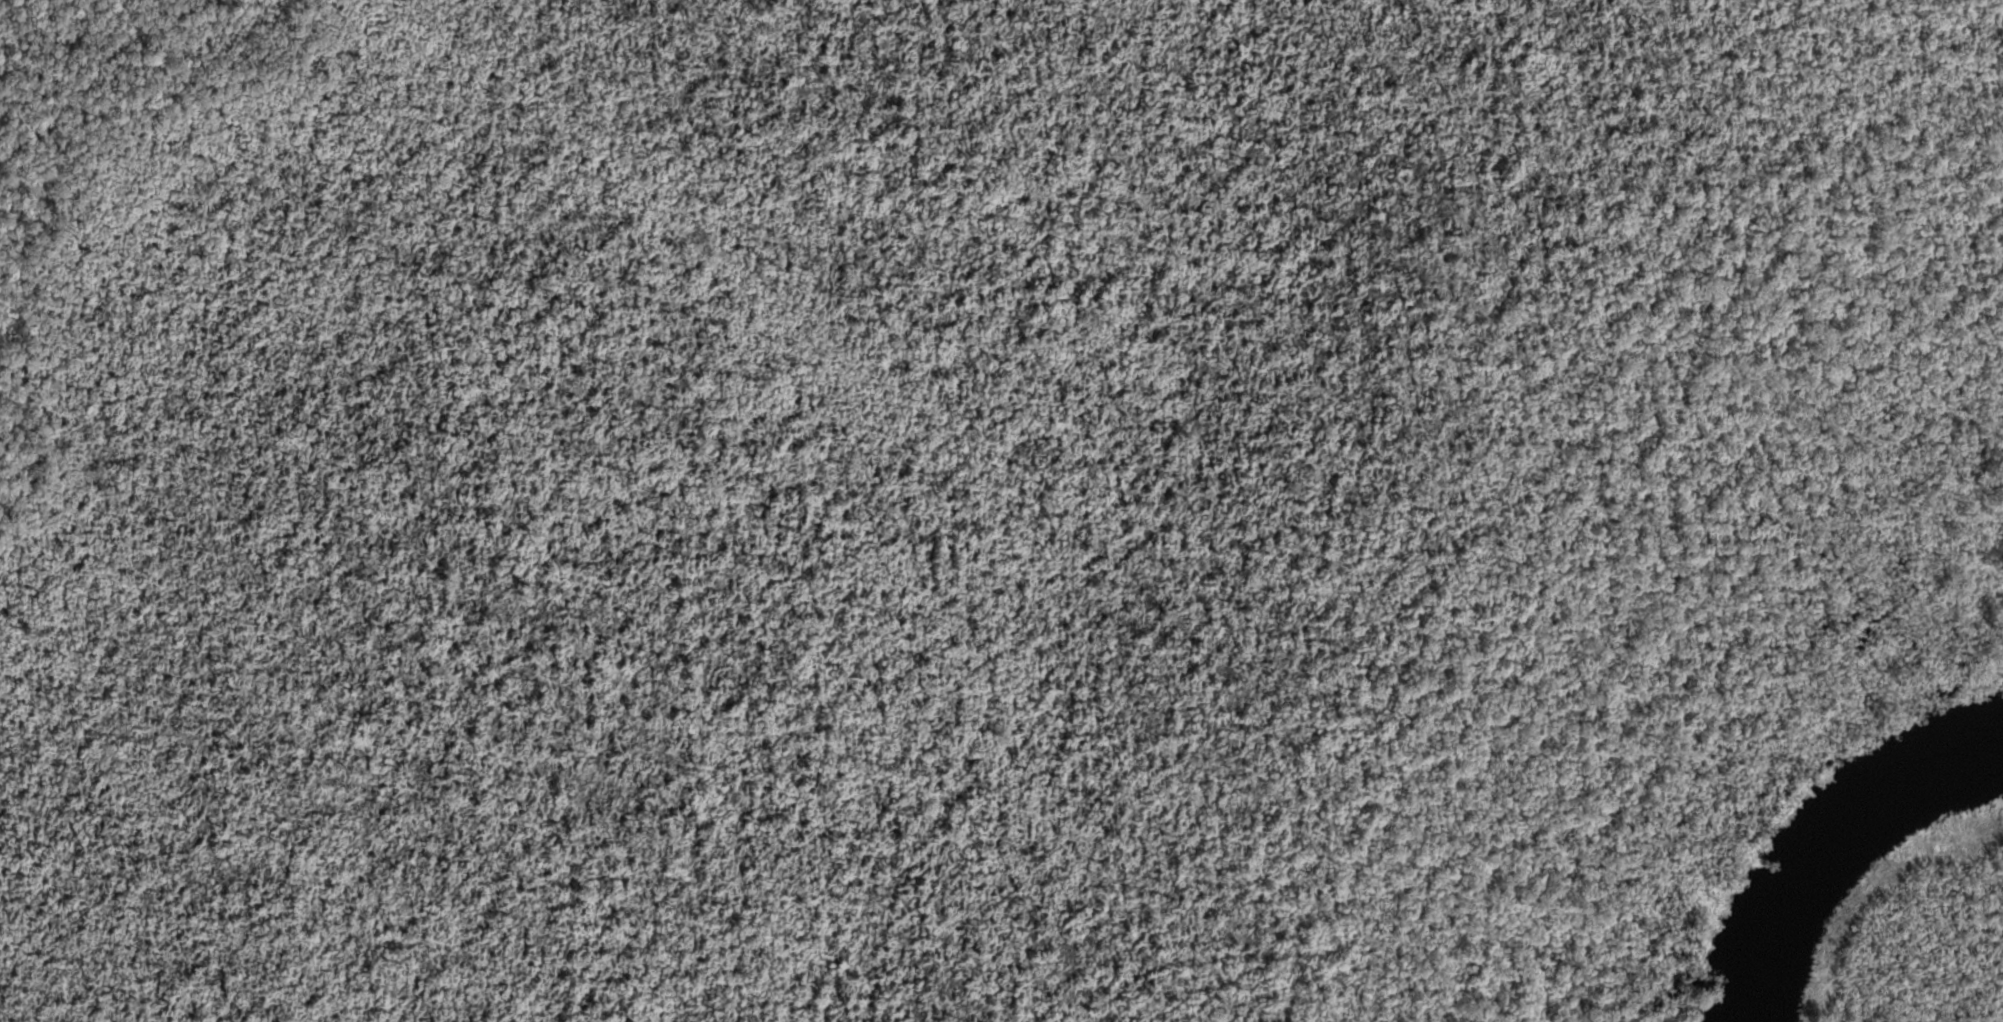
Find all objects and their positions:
road: (93, 66)

